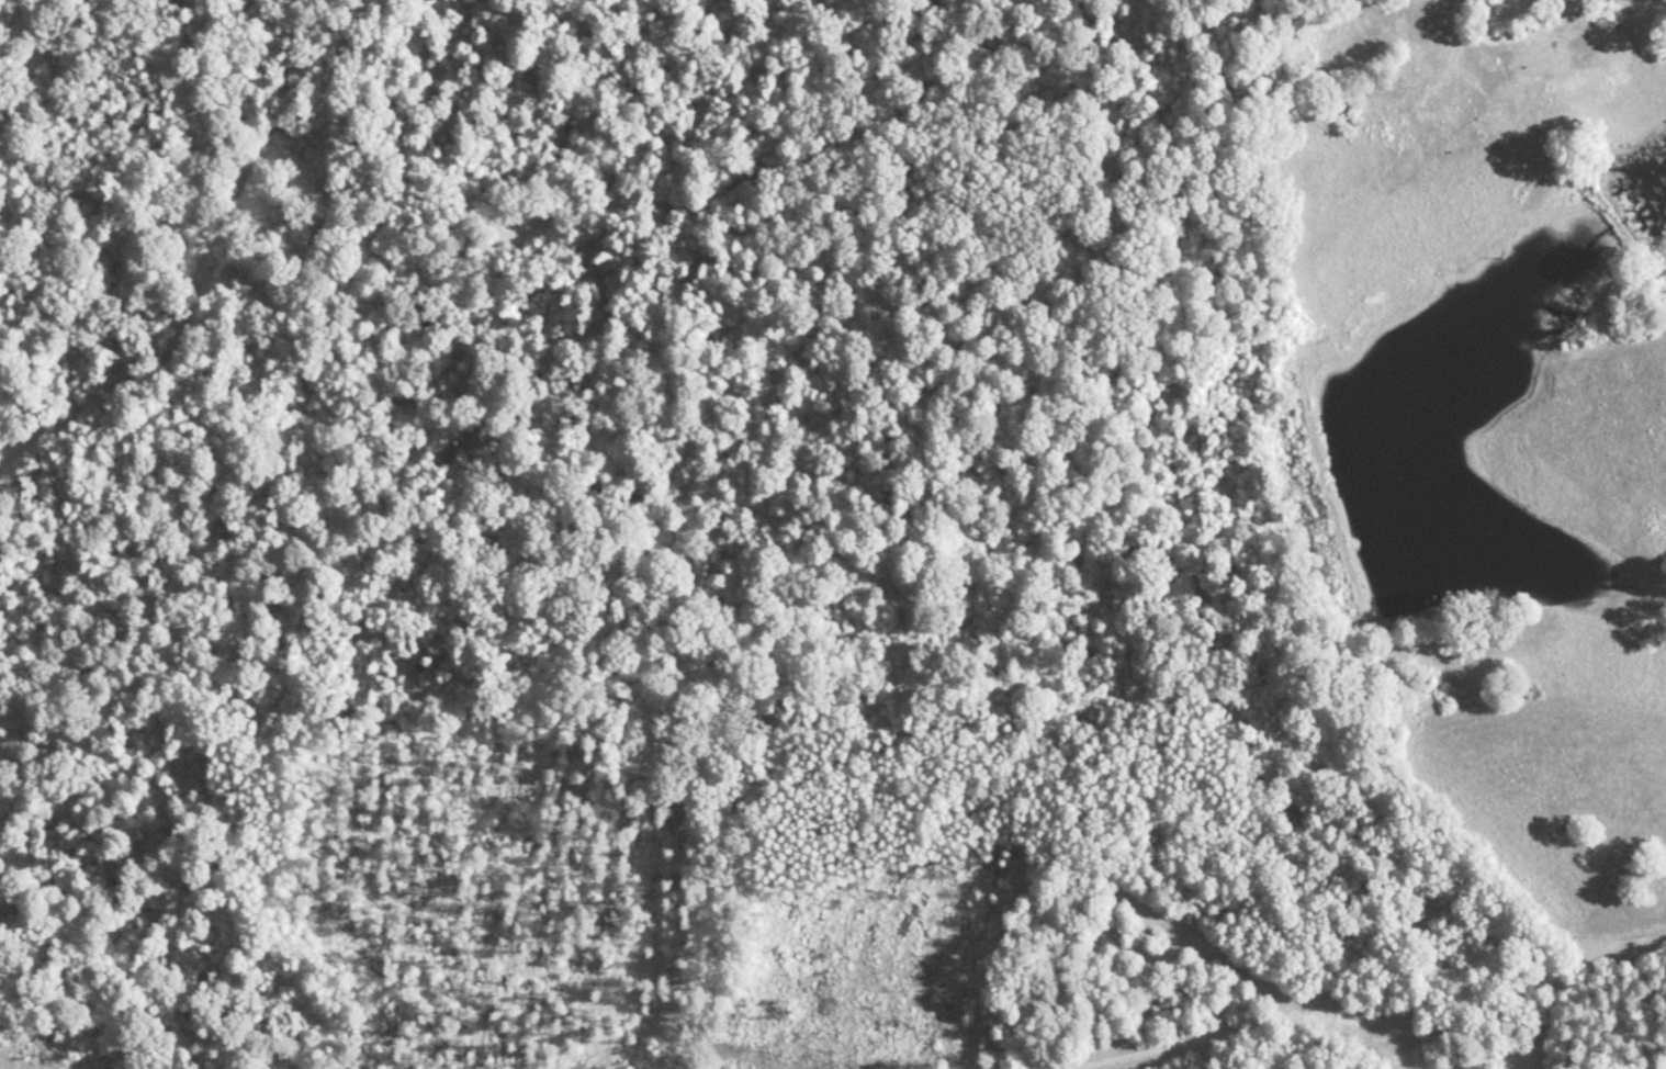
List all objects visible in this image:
road: (1541, 491)

